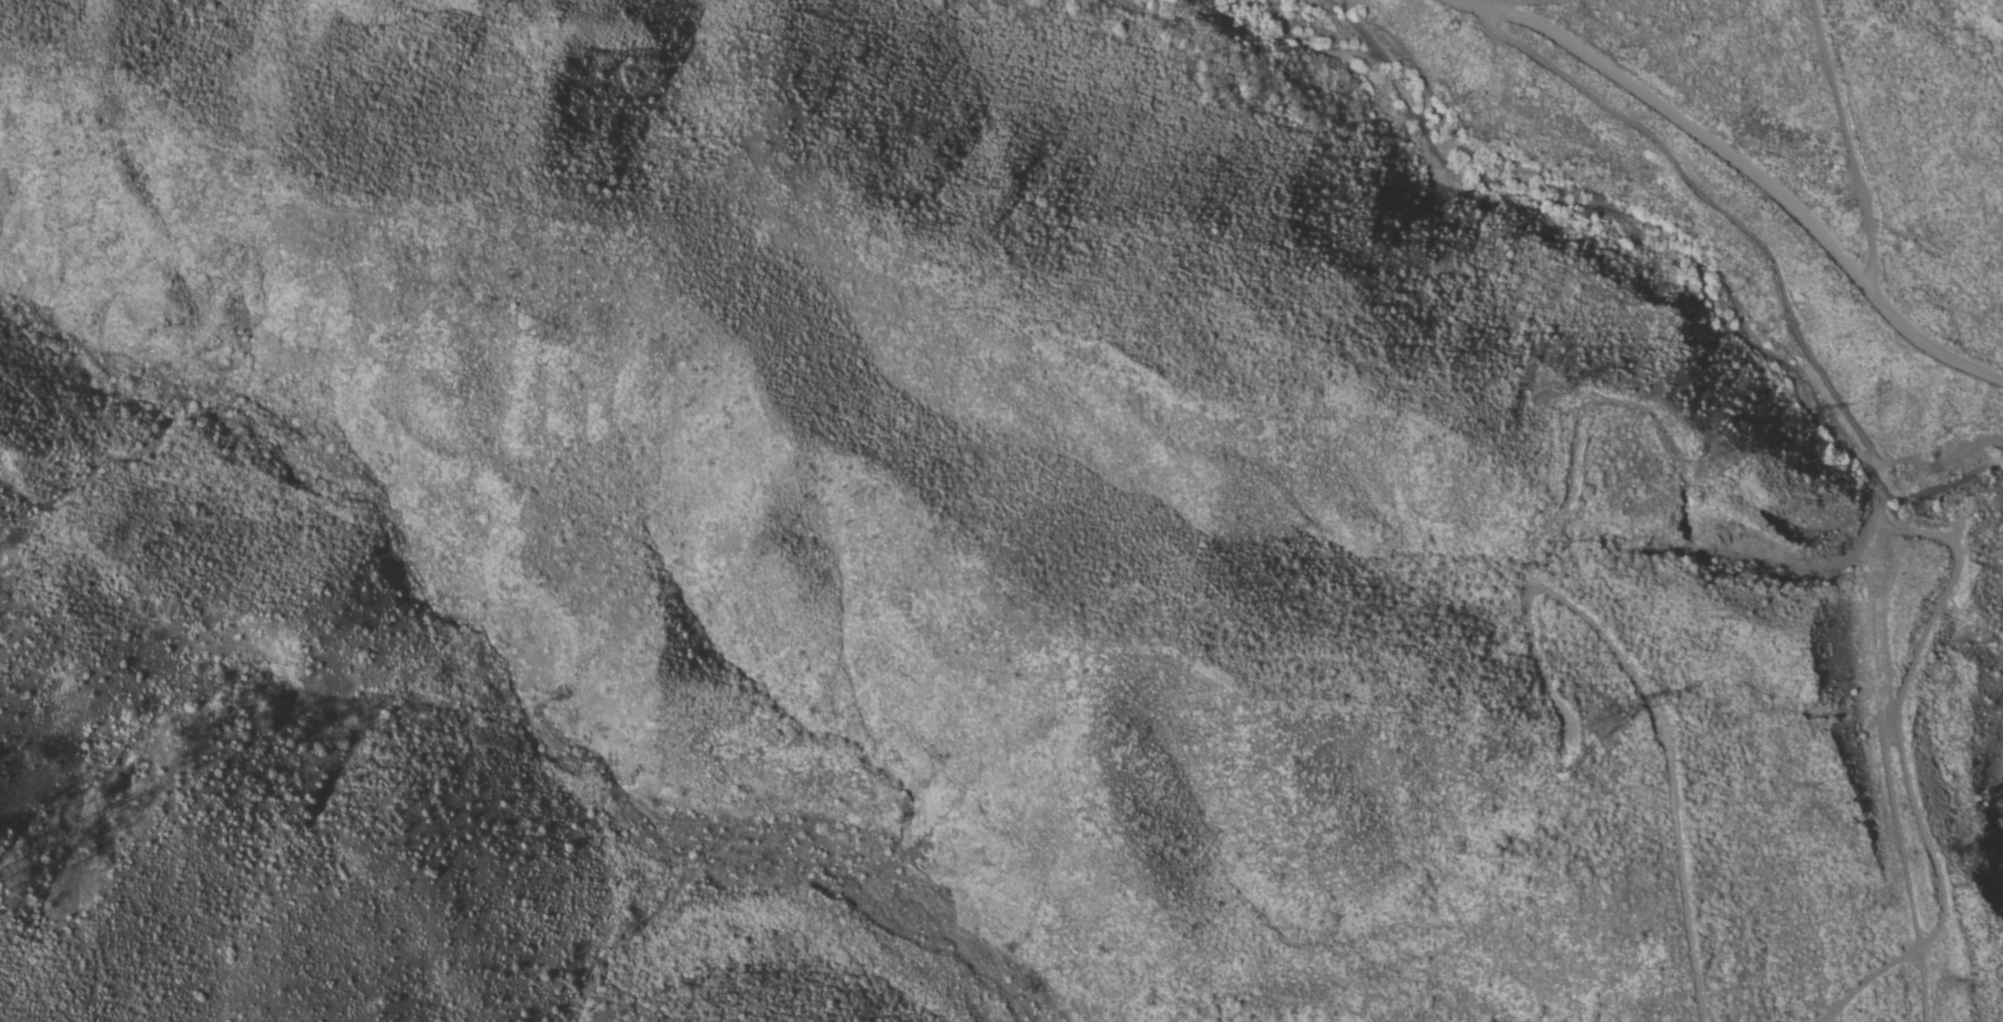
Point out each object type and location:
road: (1851, 144)
road: (1747, 169)
road: (1737, 221)
power tower: (1552, 397)
power tower: (1714, 444)
road: (1579, 612)
road: (1896, 704)
power tower: (1614, 732)
road: (1888, 772)
road: (1685, 901)
road: (1869, 984)
road: (1923, 986)
road: (1834, 1016)

